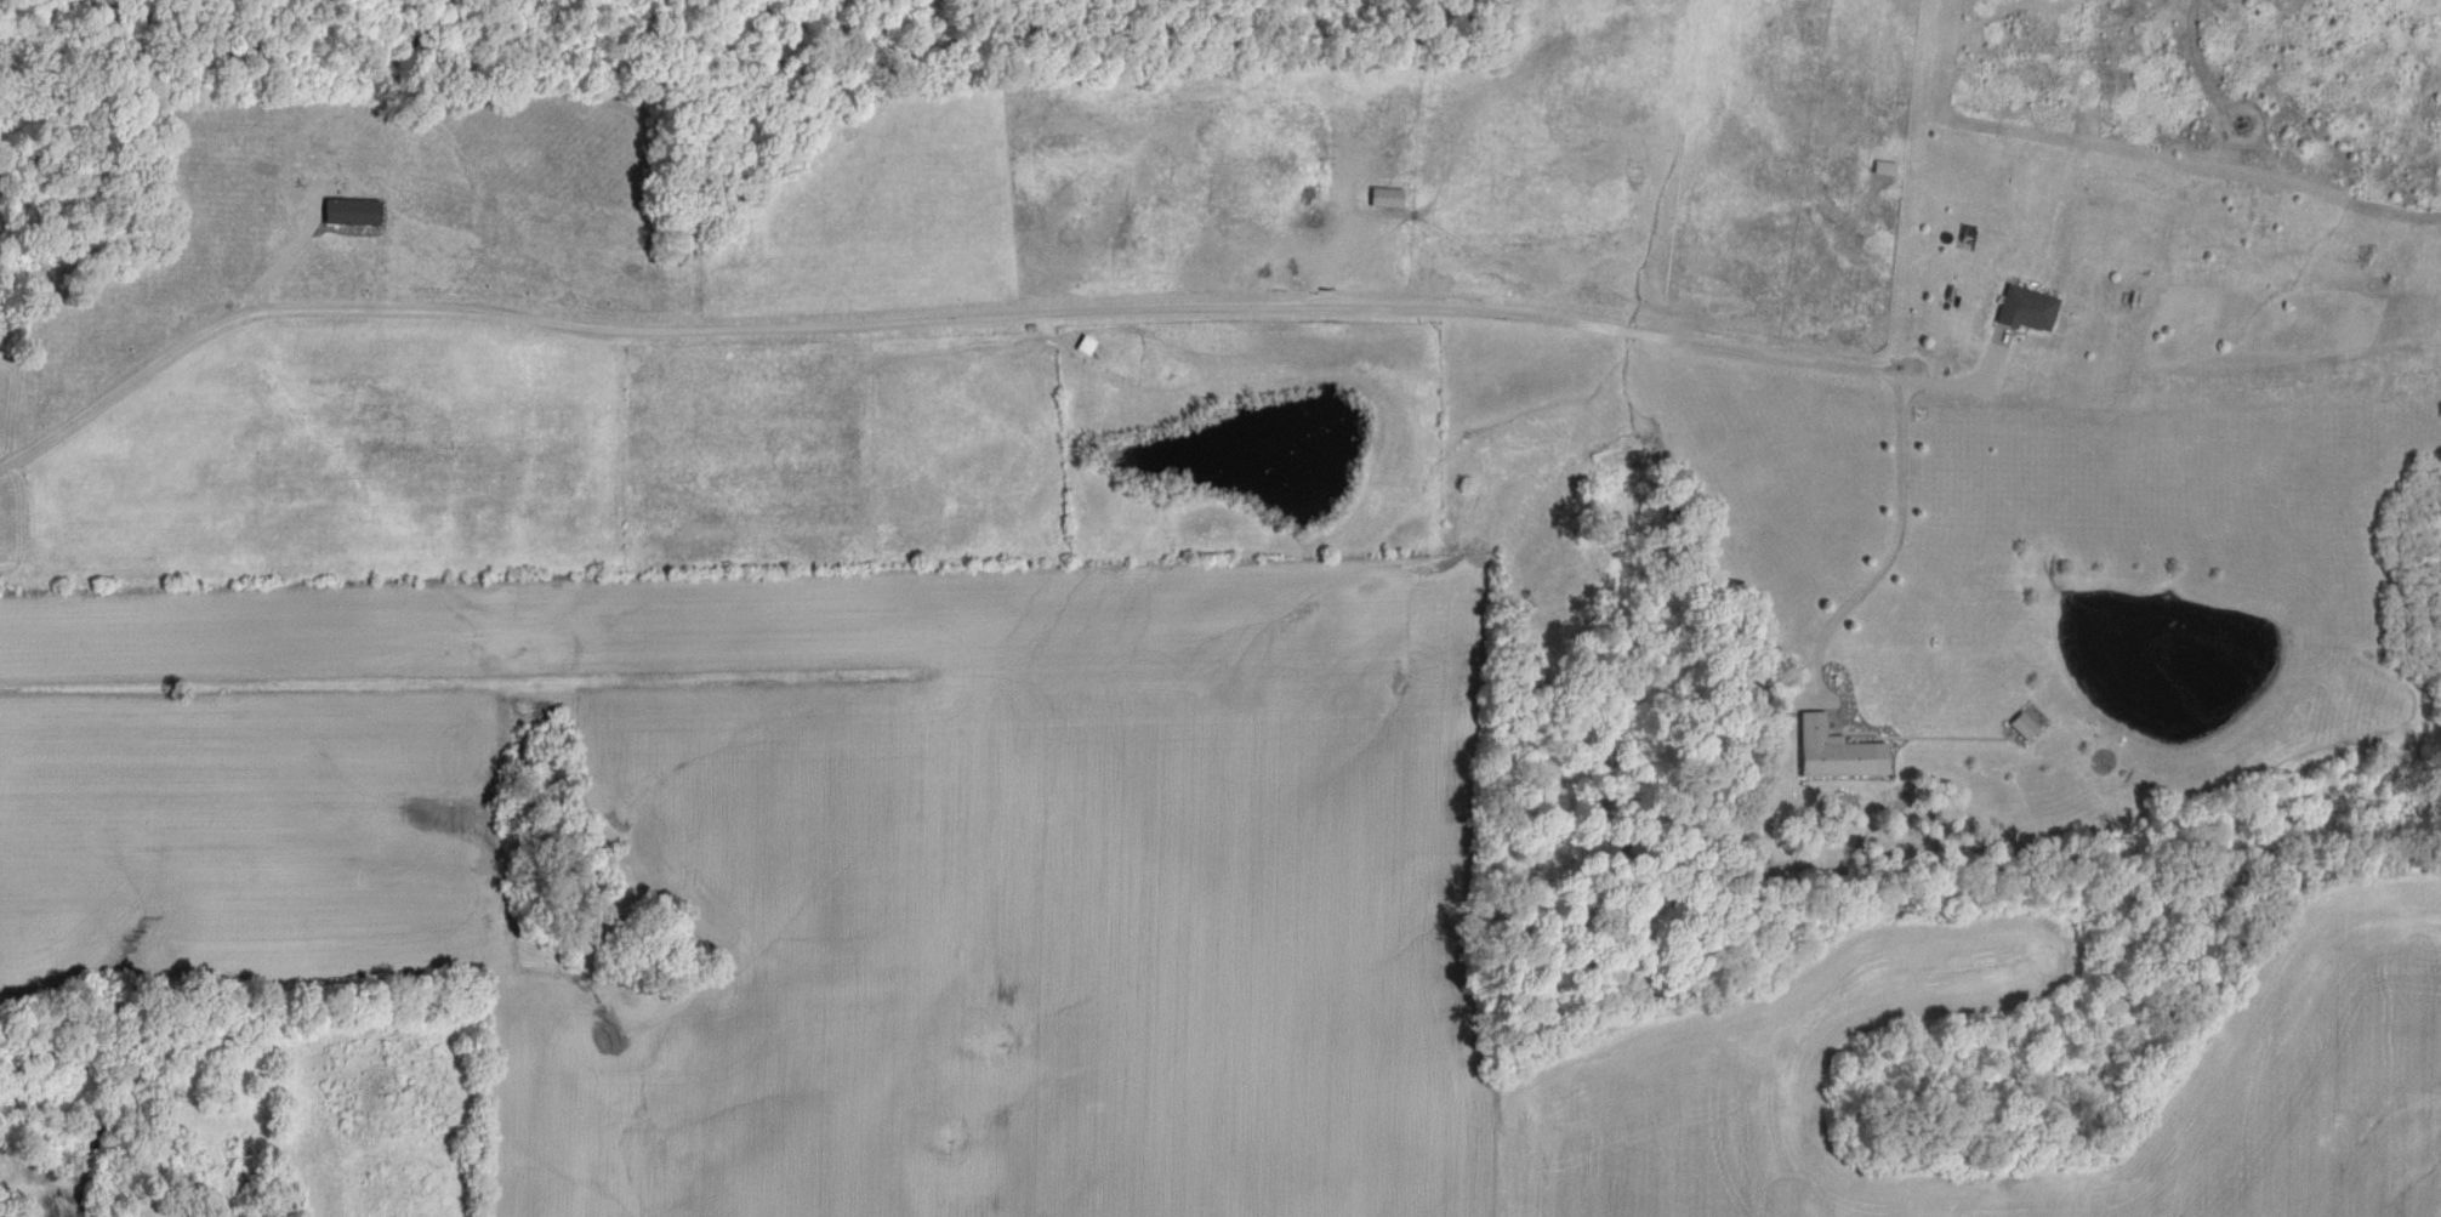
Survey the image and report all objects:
building: (357, 212)
building: (2032, 308)
road: (935, 323)
road: (1897, 544)
building: (2029, 727)
building: (1842, 752)

